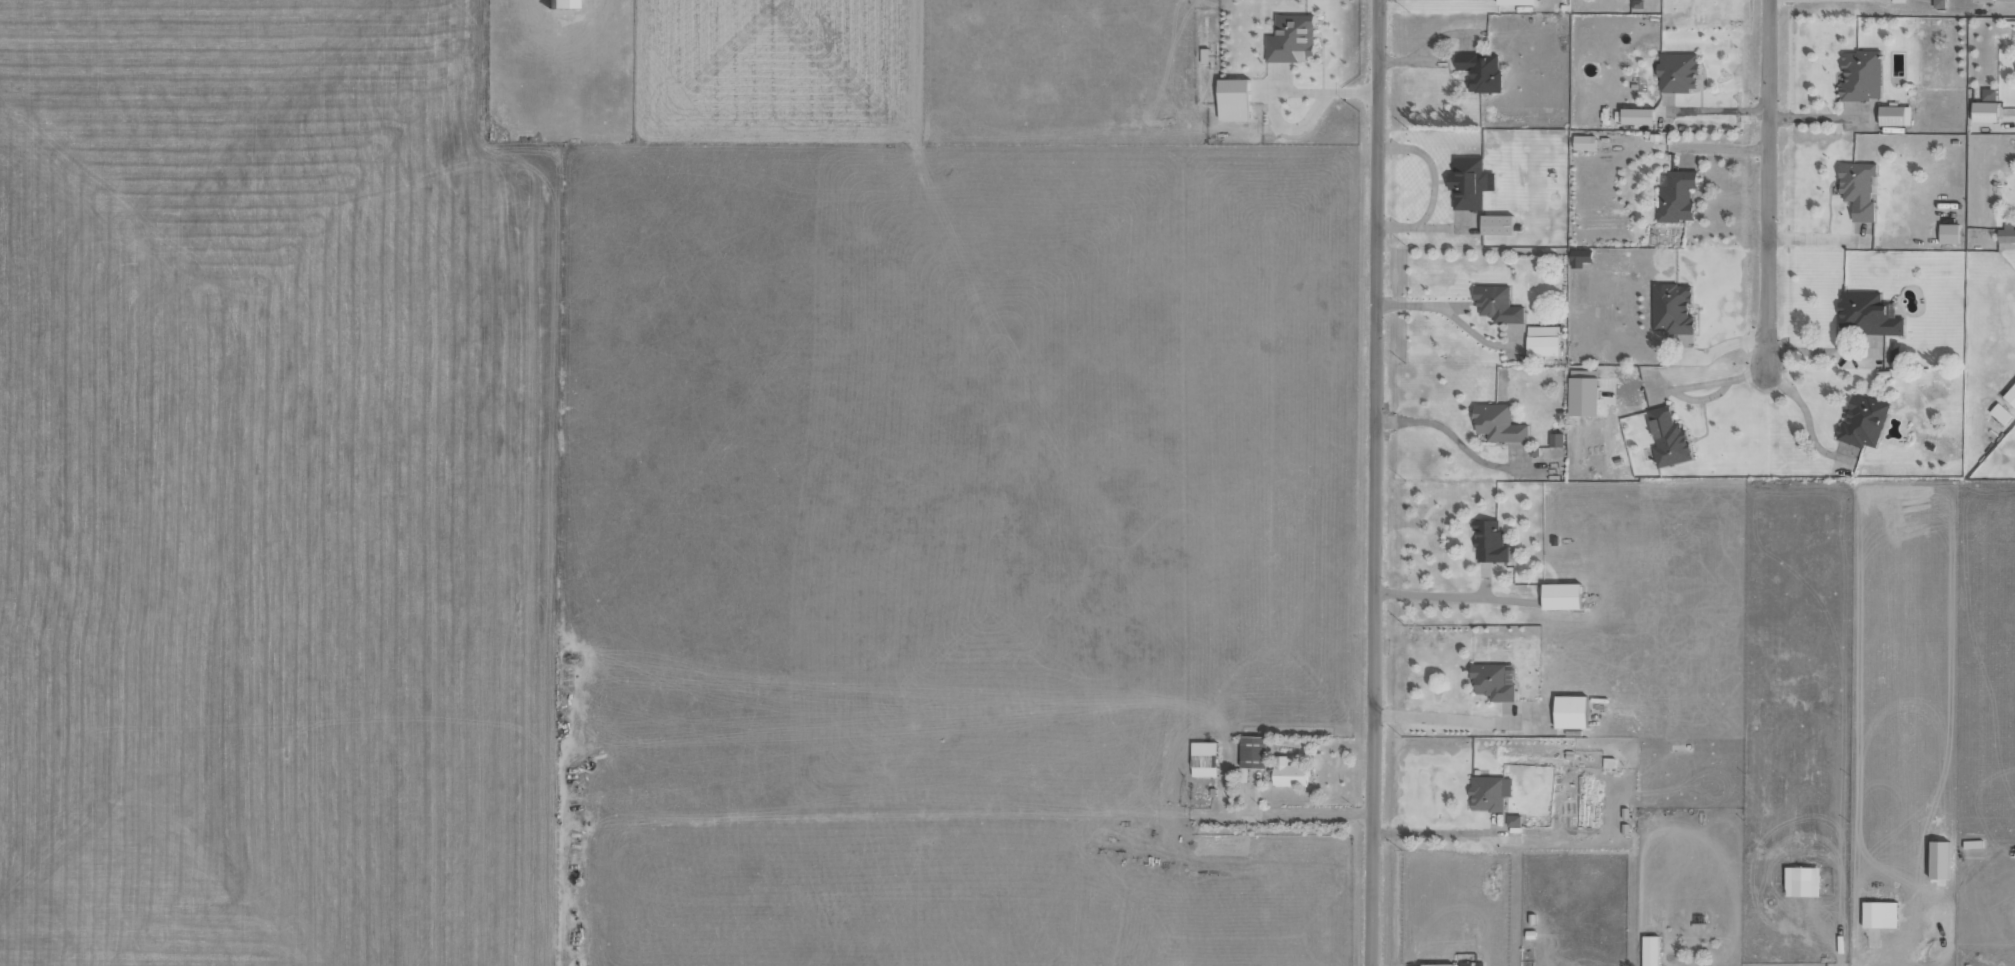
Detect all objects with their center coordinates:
building: (1515, 2)
building: (558, 4)
building: (1938, 4)
building: (1291, 39)
building: (1480, 71)
building: (1677, 72)
building: (1860, 75)
building: (1988, 94)
building: (1233, 100)
building: (1984, 111)
building: (1894, 115)
building: (1637, 116)
building: (1584, 142)
building: (1469, 182)
road: (1765, 182)
building: (1857, 189)
building: (1676, 196)
building: (1496, 225)
building: (1948, 233)
building: (2006, 234)
building: (1579, 257)
building: (1497, 304)
building: (1671, 308)
building: (1867, 314)
building: (1542, 340)
building: (2010, 395)
building: (1583, 396)
building: (2000, 413)
building: (1862, 421)
building: (1497, 423)
building: (1667, 438)
building: (1555, 440)
road: (1372, 483)
building: (1489, 542)
building: (1560, 596)
building: (1492, 681)
building: (1570, 711)
building: (1252, 751)
building: (1203, 758)
building: (1608, 762)
building: (1287, 772)
building: (1489, 792)
building: (1513, 820)
building: (1938, 859)
building: (1801, 881)
building: (1879, 914)
building: (1649, 950)
building: (1437, 964)

